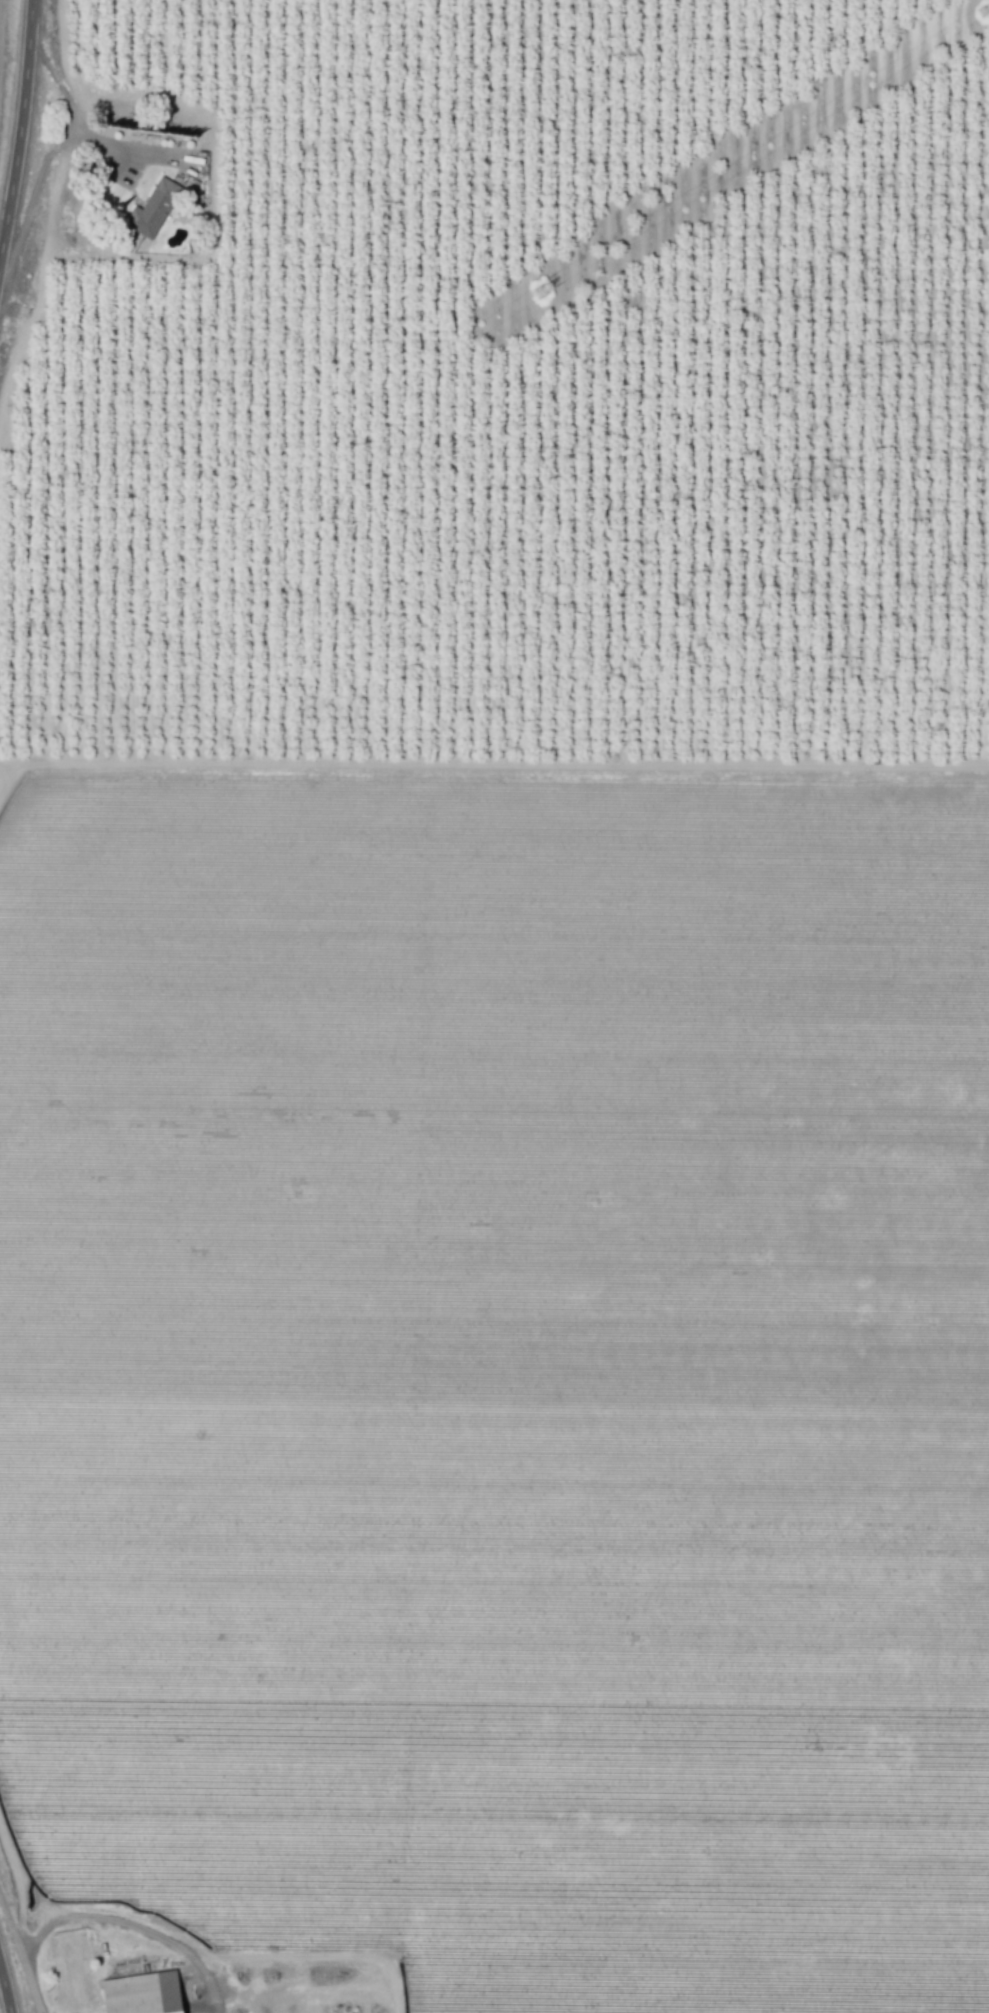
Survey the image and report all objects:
road: (77, 116)
road: (20, 126)
road: (50, 197)
building: (157, 208)
power tower: (547, 296)
road: (494, 757)
road: (28, 773)
crop: (501, 1374)
road: (43, 1900)
road: (135, 1921)
road: (209, 1935)
road: (20, 1949)
road: (5, 1989)
building: (147, 1993)
road: (308, 1999)

